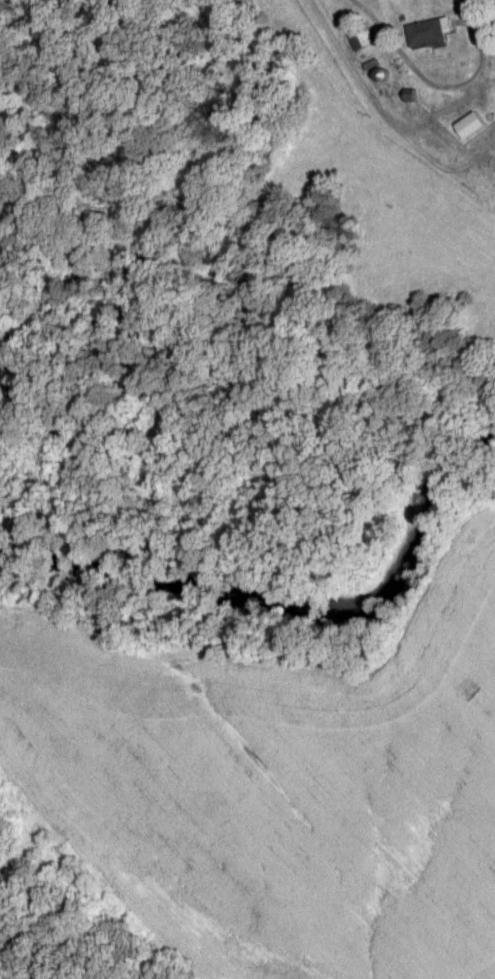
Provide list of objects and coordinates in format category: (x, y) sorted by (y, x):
building: (476, 6)
building: (428, 34)
building: (361, 39)
road: (380, 125)
building: (470, 127)
building: (494, 151)
river: (294, 600)

